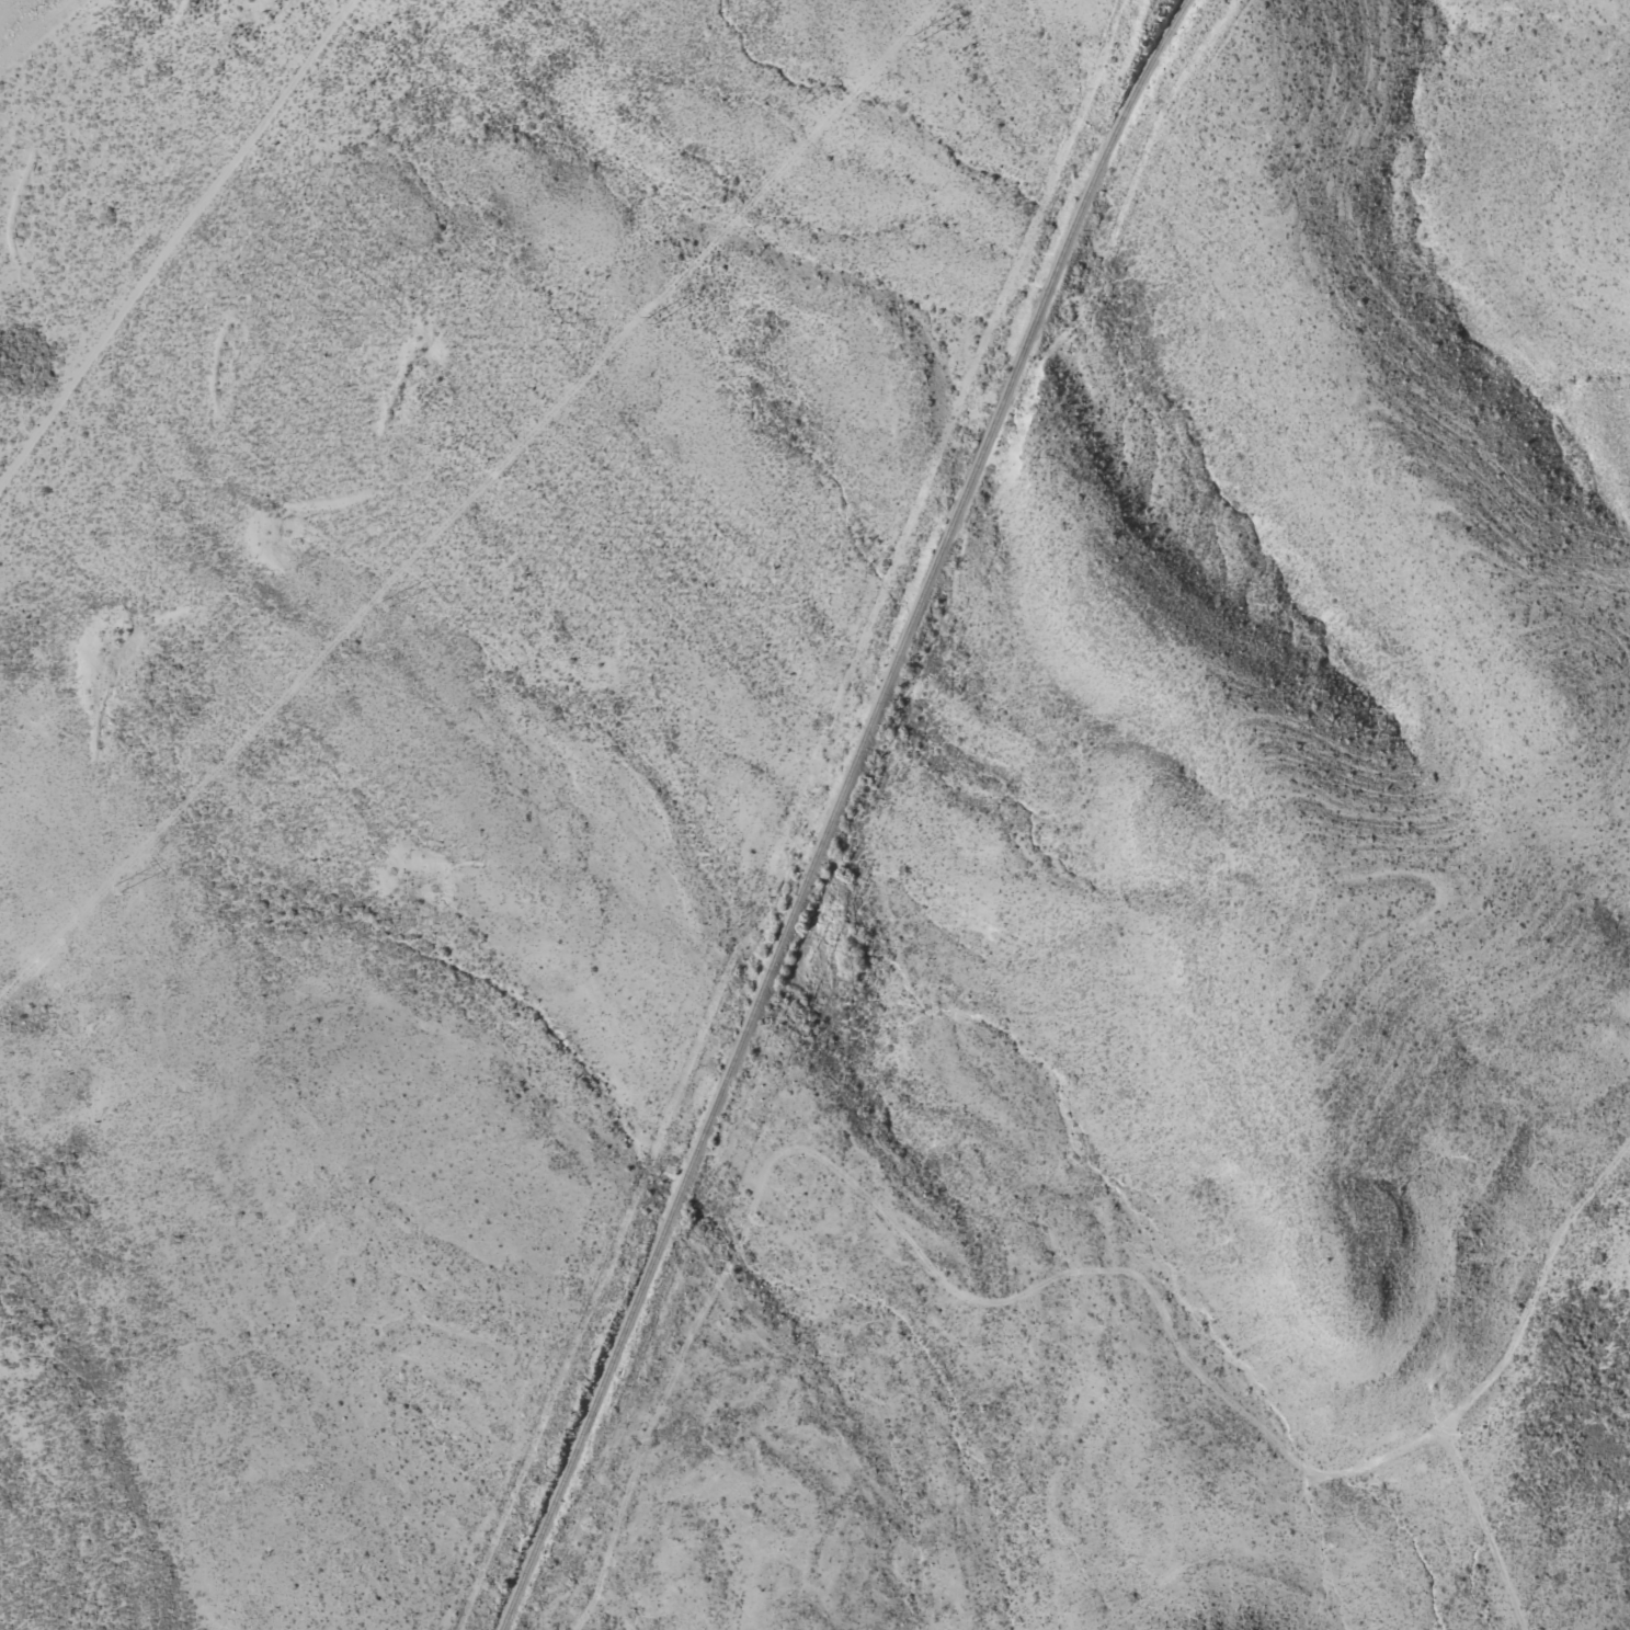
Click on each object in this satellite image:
power tower: (914, 38)
road: (175, 282)
power tower: (651, 320)
power tower: (383, 605)
railway: (832, 810)
power tower: (116, 888)
road: (1000, 1277)
road: (1583, 1377)

